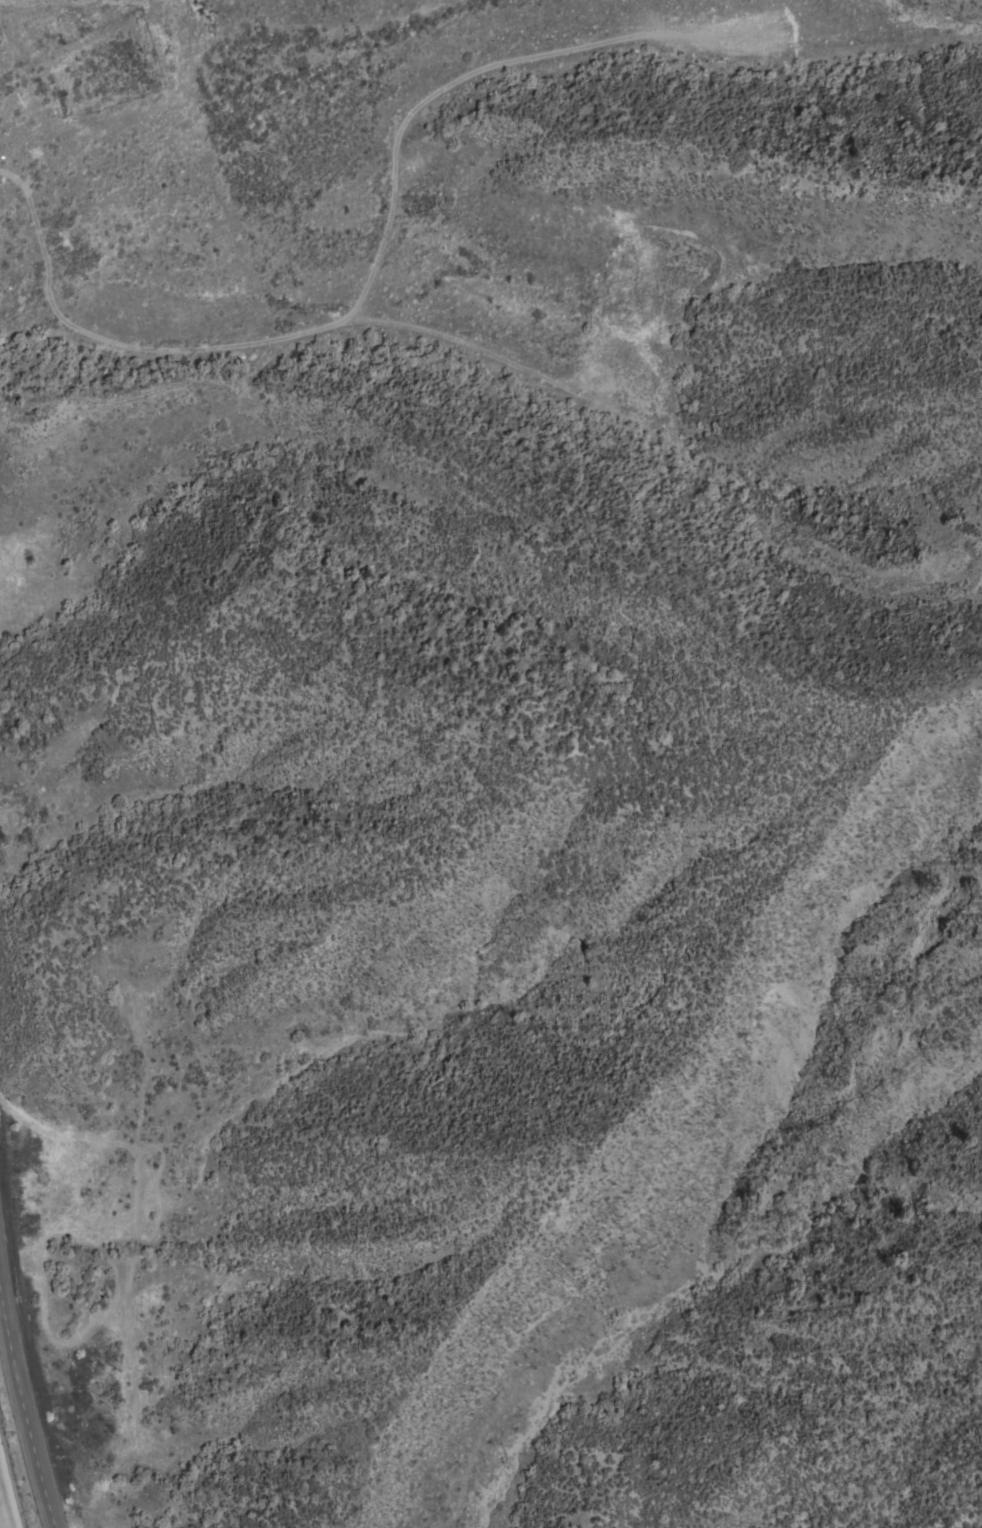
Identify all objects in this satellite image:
road: (24, 1404)
road: (2, 1520)

